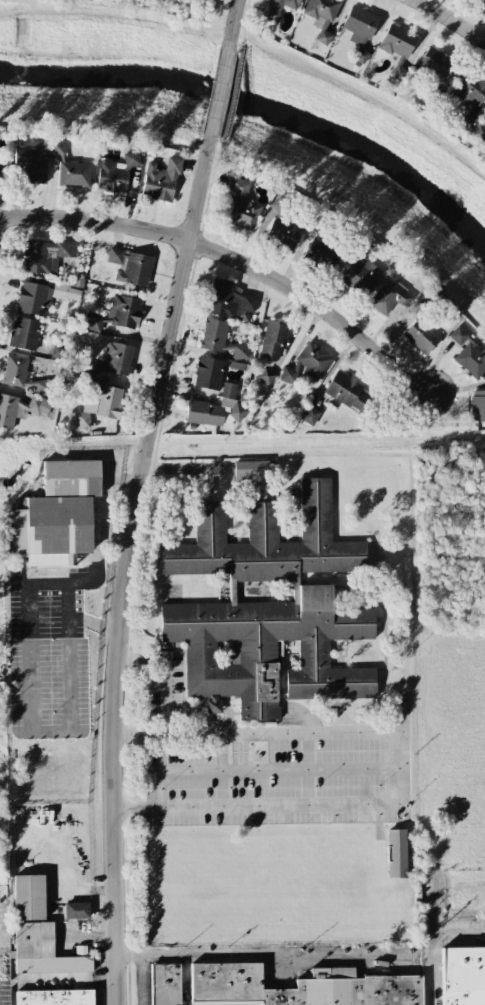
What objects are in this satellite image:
building: (204, 0)
building: (483, 1)
building: (277, 8)
road: (234, 15)
building: (321, 17)
road: (452, 19)
building: (359, 30)
building: (396, 47)
building: (434, 64)
road: (221, 83)
building: (469, 98)
river: (263, 102)
building: (479, 132)
building: (31, 165)
building: (69, 167)
building: (3, 171)
building: (115, 174)
building: (160, 181)
building: (282, 203)
building: (241, 205)
building: (283, 233)
building: (321, 255)
building: (45, 256)
road: (232, 258)
building: (130, 266)
building: (360, 276)
building: (42, 297)
building: (389, 297)
building: (229, 300)
building: (124, 311)
building: (95, 323)
building: (24, 333)
building: (421, 336)
building: (221, 340)
building: (272, 340)
building: (468, 353)
building: (117, 358)
building: (307, 364)
building: (14, 370)
building: (208, 373)
building: (265, 376)
building: (41, 388)
building: (346, 391)
building: (107, 401)
building: (231, 402)
building: (477, 405)
building: (21, 409)
building: (204, 413)
building: (309, 415)
building: (251, 471)
building: (57, 514)
road: (128, 567)
road: (75, 583)
building: (268, 609)
road: (167, 668)
building: (196, 703)
road: (299, 711)
road: (29, 713)
road: (307, 769)
road: (403, 769)
road: (221, 770)
road: (258, 770)
building: (396, 854)
road: (62, 873)
building: (28, 897)
building: (76, 911)
road: (7, 929)
road: (3, 933)
road: (433, 945)
building: (40, 950)
road: (255, 955)
building: (463, 976)
road: (141, 981)
road: (185, 981)
building: (165, 984)
building: (298, 987)
building: (54, 997)

